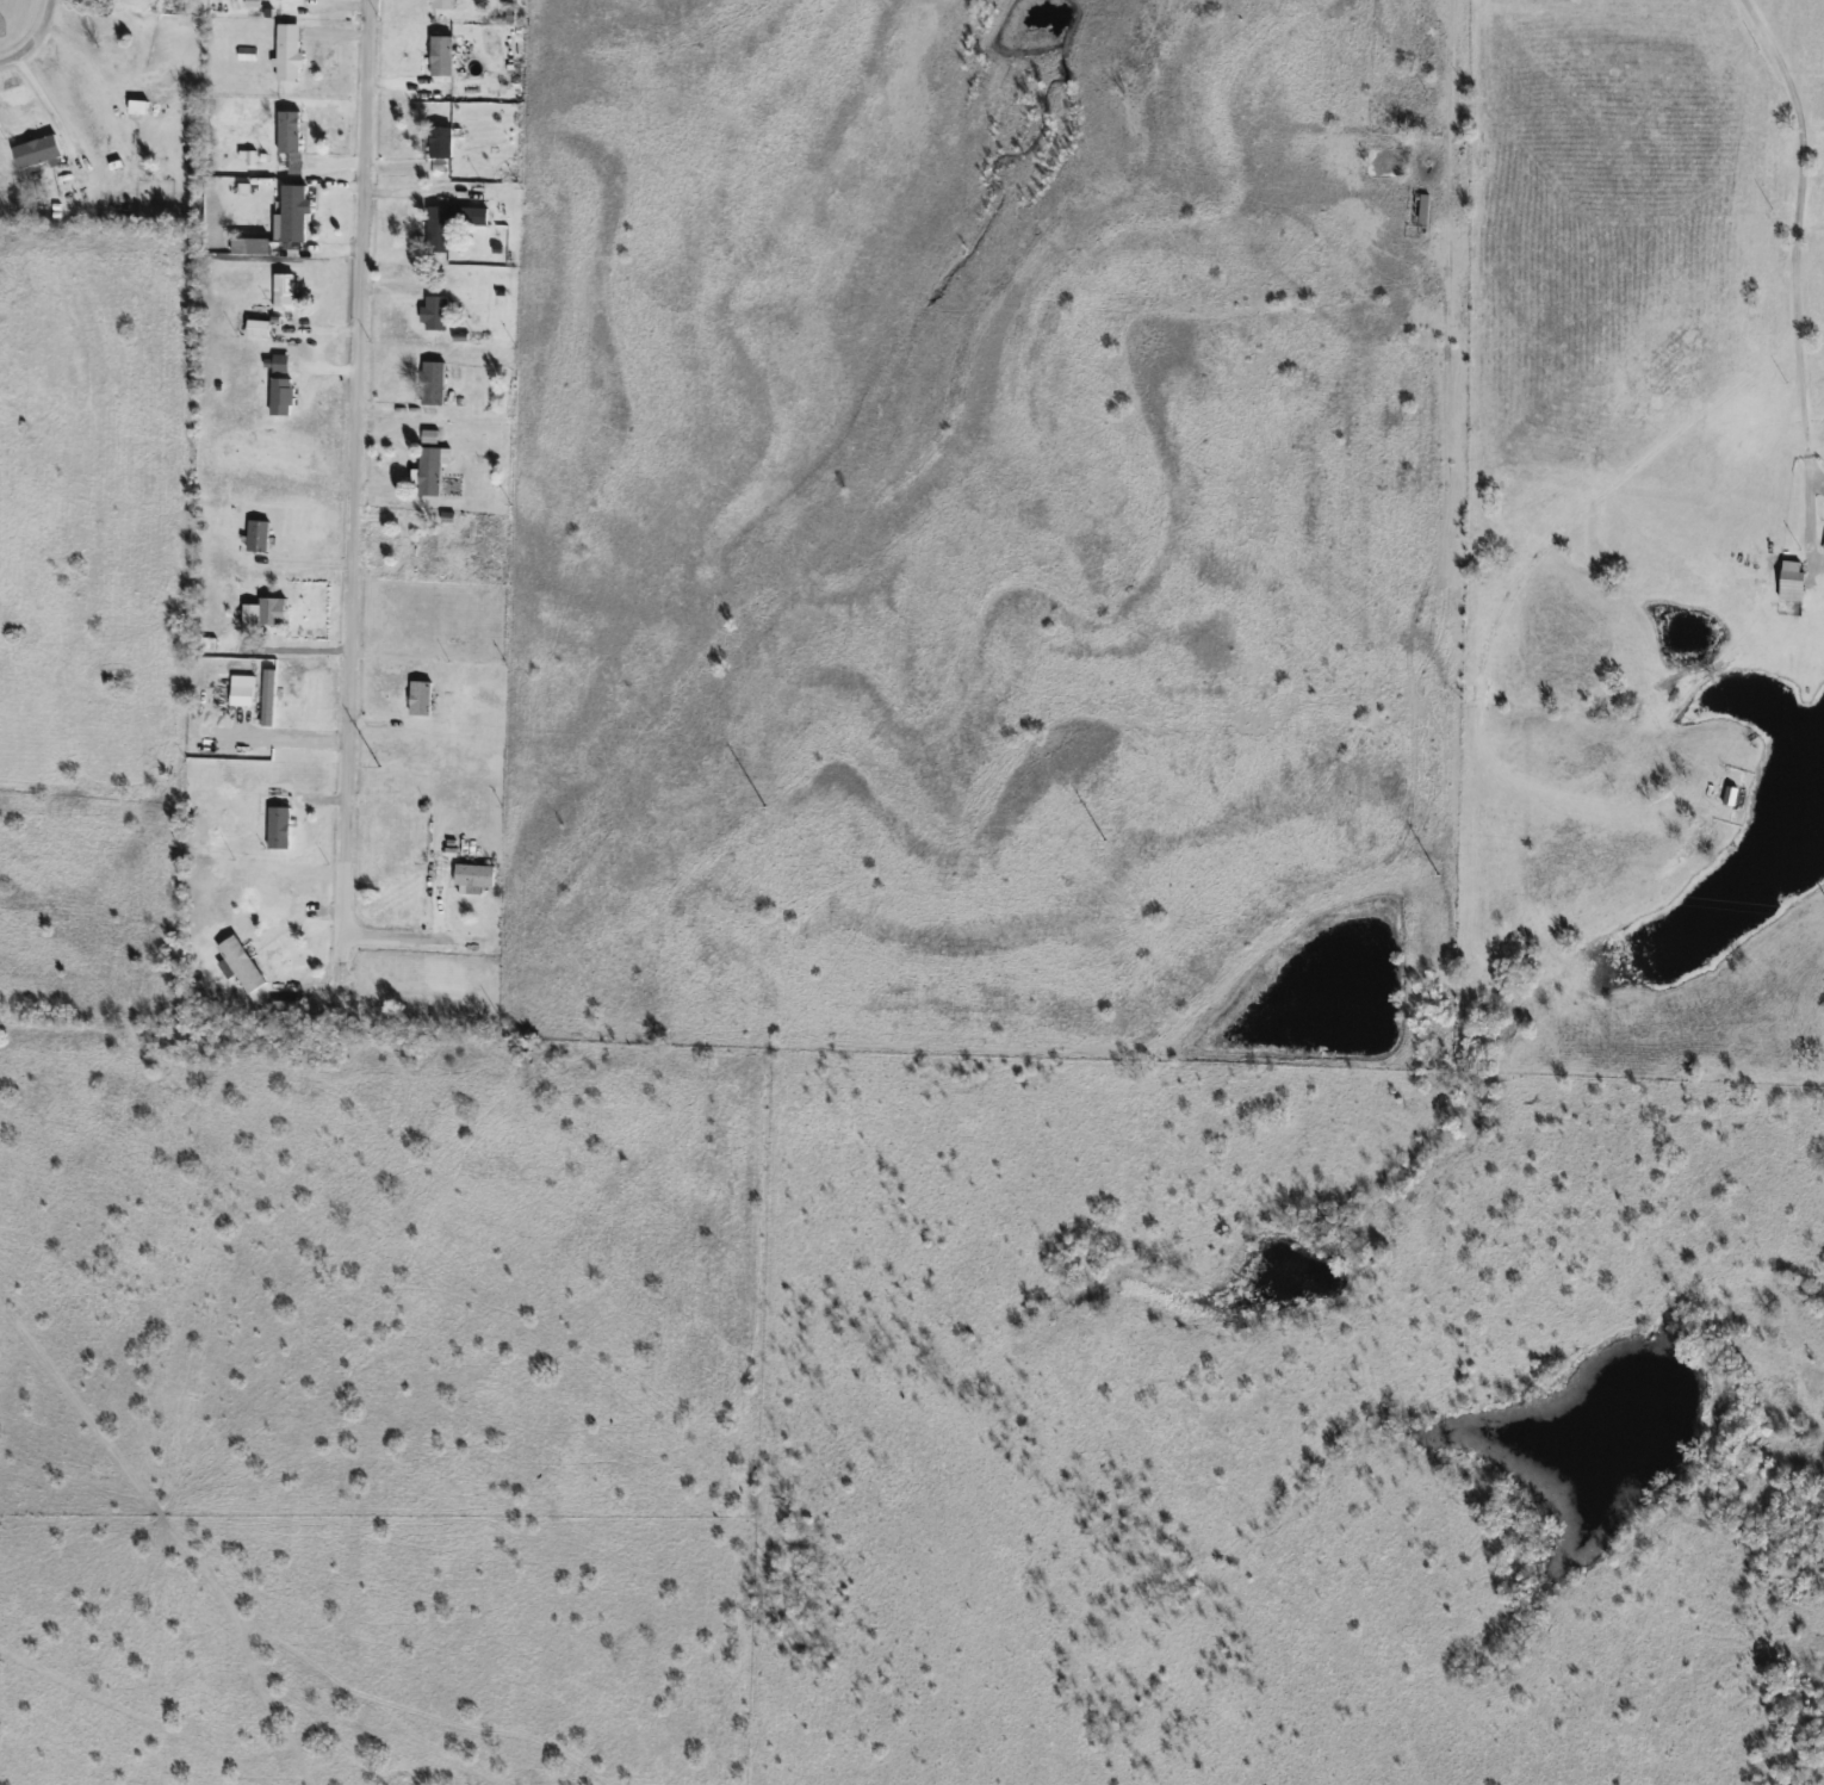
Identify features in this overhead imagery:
building: (443, 4)
road: (33, 39)
building: (290, 51)
building: (443, 55)
building: (147, 101)
building: (291, 138)
building: (442, 148)
building: (38, 151)
building: (1388, 161)
building: (1423, 211)
building: (296, 212)
building: (453, 224)
building: (253, 246)
road: (1792, 280)
building: (285, 292)
building: (438, 312)
building: (435, 383)
building: (284, 396)
road: (352, 466)
building: (434, 470)
building: (260, 535)
building: (428, 551)
building: (1793, 578)
building: (272, 611)
building: (243, 690)
building: (269, 698)
building: (422, 699)
power tower: (380, 768)
power tower: (761, 806)
building: (280, 828)
building: (396, 833)
power tower: (1103, 842)
building: (476, 874)
power tower: (1439, 875)
building: (243, 963)

